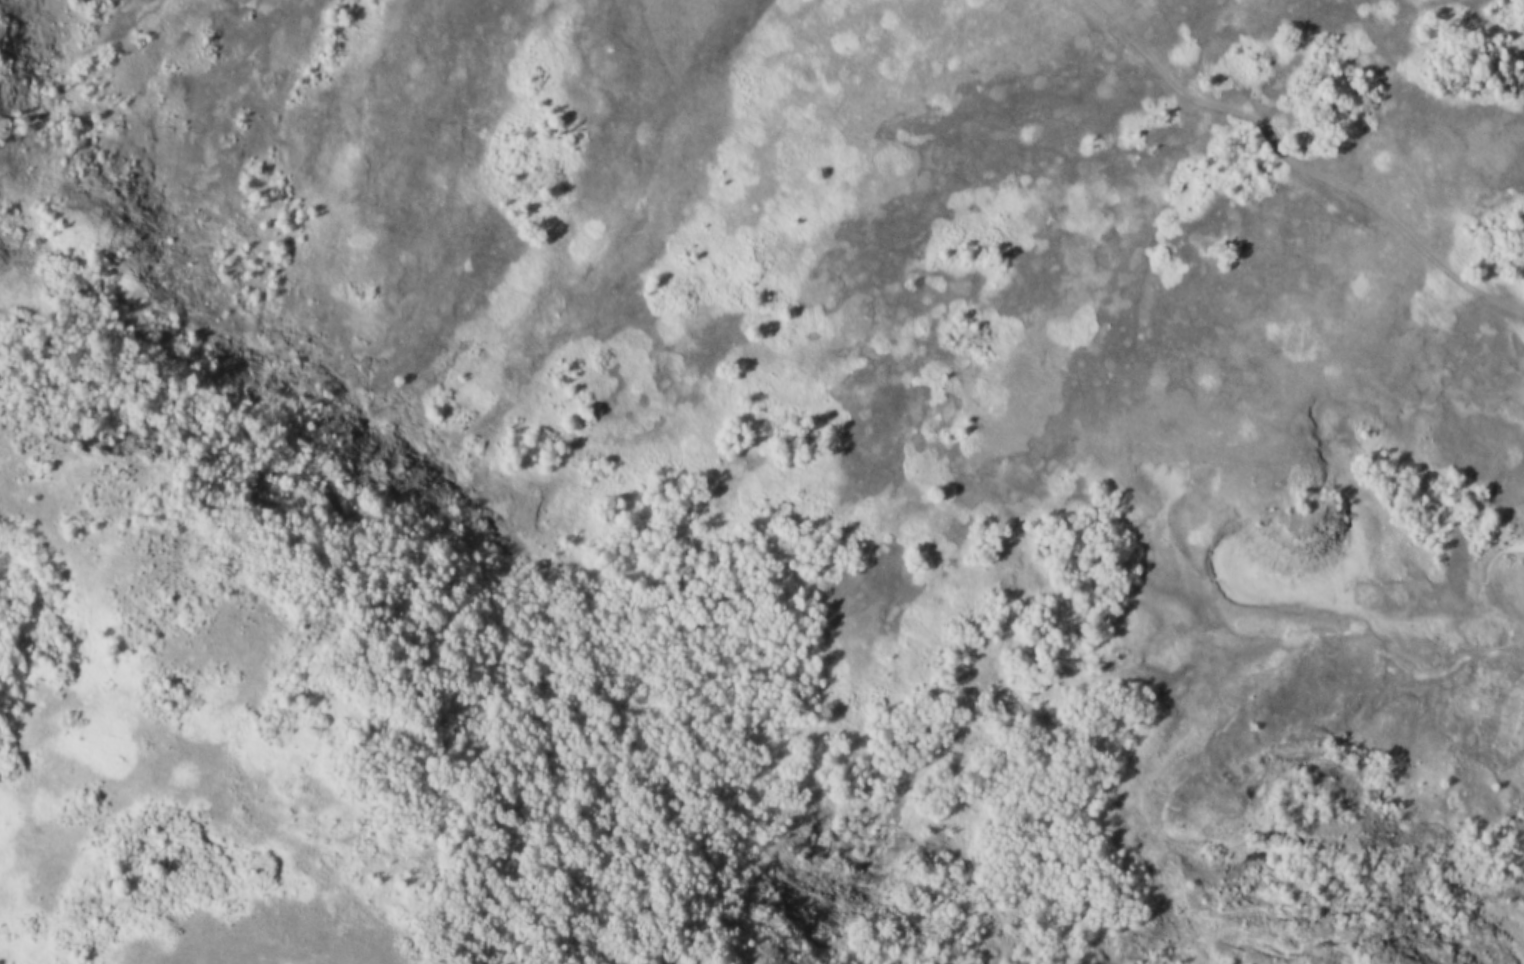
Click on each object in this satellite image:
road: (1299, 165)

